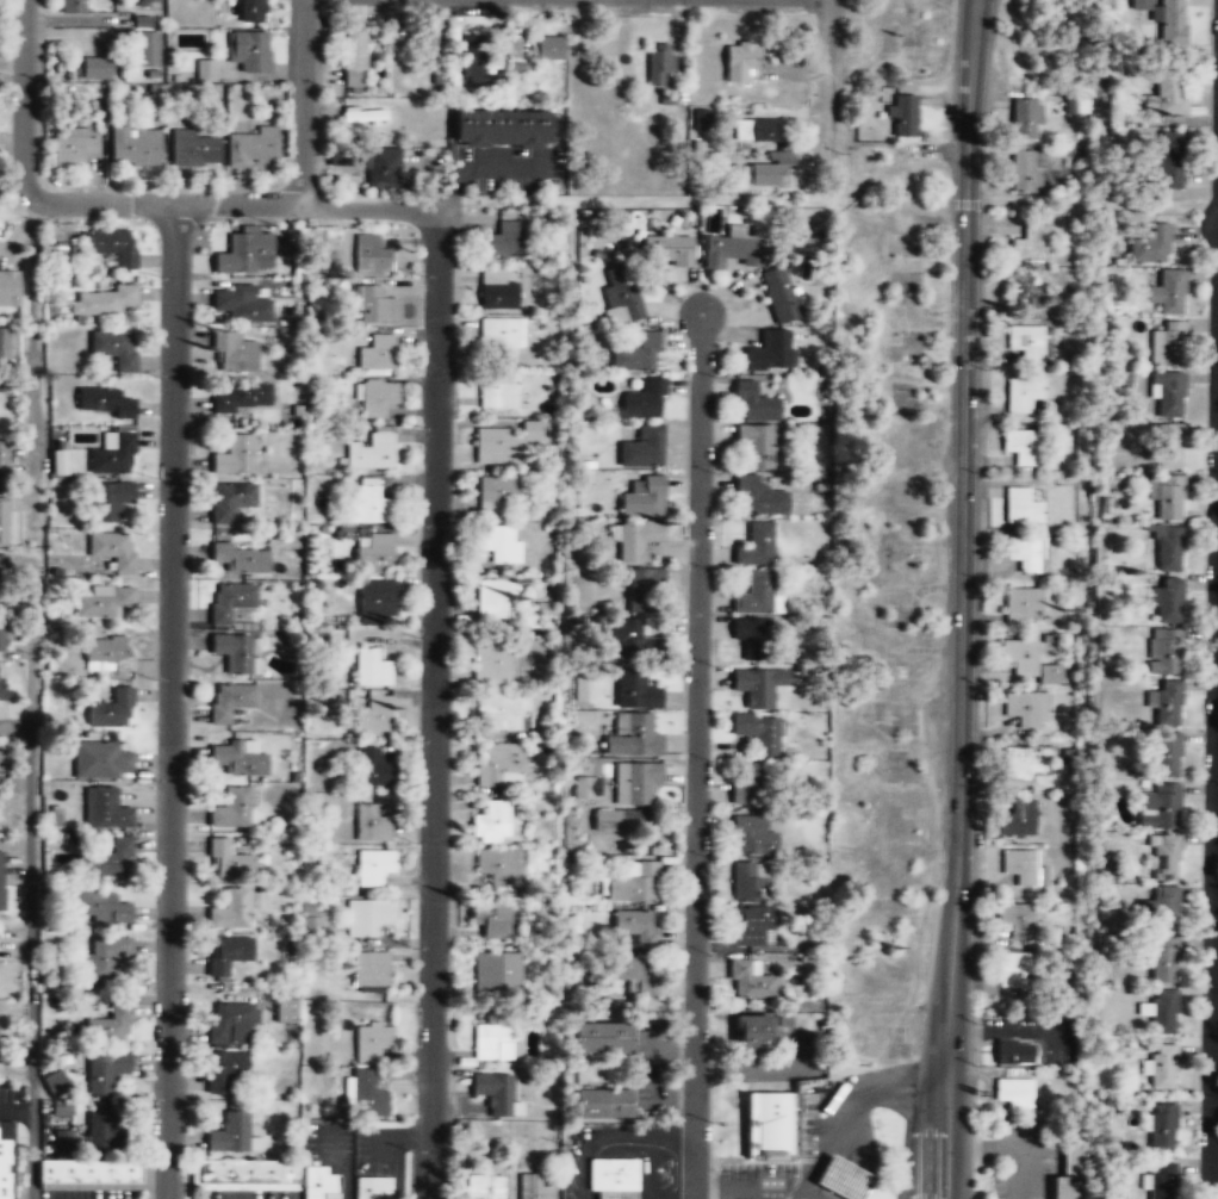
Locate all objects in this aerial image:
building: (147, 1)
building: (1141, 4)
building: (73, 7)
building: (251, 12)
building: (142, 21)
building: (1173, 23)
building: (429, 42)
building: (546, 46)
building: (147, 51)
building: (249, 52)
building: (473, 54)
building: (354, 61)
building: (658, 61)
building: (739, 62)
road: (827, 64)
building: (95, 67)
building: (205, 72)
building: (1167, 91)
road: (303, 102)
building: (902, 114)
building: (1025, 118)
building: (701, 120)
building: (502, 128)
building: (758, 130)
building: (75, 147)
building: (254, 147)
building: (135, 148)
building: (193, 148)
building: (1169, 160)
building: (1024, 167)
building: (383, 168)
road: (470, 170)
building: (762, 175)
road: (238, 205)
building: (504, 241)
building: (1030, 242)
building: (1151, 243)
building: (114, 247)
building: (665, 250)
building: (731, 251)
building: (246, 254)
building: (371, 256)
building: (8, 286)
building: (497, 291)
building: (1023, 291)
building: (1167, 292)
building: (778, 294)
building: (621, 296)
building: (101, 303)
building: (241, 304)
building: (372, 306)
building: (501, 337)
building: (1024, 342)
building: (1166, 343)
building: (5, 344)
building: (114, 349)
building: (766, 350)
building: (377, 353)
building: (234, 354)
building: (635, 355)
building: (498, 391)
building: (1166, 392)
building: (1021, 395)
building: (243, 398)
building: (375, 398)
building: (106, 402)
building: (644, 402)
building: (753, 402)
building: (503, 442)
building: (754, 443)
building: (1169, 445)
building: (1021, 446)
building: (641, 447)
building: (372, 452)
building: (113, 453)
building: (235, 456)
building: (57, 461)
building: (2, 462)
building: (497, 493)
building: (1166, 495)
building: (641, 496)
building: (758, 496)
building: (114, 498)
building: (230, 501)
building: (368, 502)
building: (1020, 505)
building: (4, 521)
building: (634, 539)
building: (499, 542)
building: (754, 545)
building: (1166, 546)
building: (113, 549)
building: (374, 552)
building: (1024, 552)
road: (31, 559)
building: (240, 560)
building: (4, 569)
building: (641, 590)
building: (754, 594)
building: (377, 599)
road: (962, 599)
building: (1164, 599)
building: (230, 601)
building: (493, 601)
building: (102, 602)
building: (1020, 603)
building: (2, 636)
building: (632, 638)
building: (748, 638)
building: (1163, 651)
building: (235, 653)
building: (106, 656)
building: (1026, 658)
building: (491, 666)
building: (372, 669)
building: (759, 685)
building: (634, 689)
building: (4, 692)
road: (172, 701)
building: (229, 702)
building: (1166, 703)
building: (112, 709)
building: (1024, 709)
building: (504, 712)
road: (434, 714)
building: (372, 716)
building: (757, 731)
building: (632, 737)
building: (1166, 754)
road: (695, 756)
building: (238, 758)
building: (4, 759)
building: (101, 760)
building: (1026, 762)
building: (498, 764)
building: (373, 769)
building: (635, 782)
building: (748, 783)
building: (12, 784)
building: (582, 790)
building: (1158, 807)
building: (230, 808)
building: (105, 809)
building: (1017, 818)
building: (621, 821)
building: (491, 822)
building: (369, 825)
building: (752, 835)
building: (1163, 856)
building: (113, 858)
building: (228, 862)
building: (498, 866)
building: (372, 868)
building: (1023, 868)
building: (2, 880)
building: (751, 881)
building: (634, 883)
road: (1214, 893)
building: (1164, 907)
building: (99, 908)
building: (231, 911)
building: (313, 918)
building: (365, 918)
building: (491, 920)
building: (1017, 920)
building: (751, 926)
building: (635, 927)
building: (228, 953)
building: (107, 956)
building: (1163, 961)
building: (1013, 968)
building: (369, 971)
building: (497, 973)
building: (635, 975)
building: (748, 981)
building: (287, 1009)
building: (1160, 1011)
building: (231, 1024)
building: (111, 1026)
building: (750, 1035)
building: (602, 1038)
building: (371, 1042)
building: (495, 1042)
building: (1012, 1050)
building: (1161, 1067)
building: (106, 1071)
building: (225, 1073)
building: (55, 1085)
building: (1013, 1092)
building: (366, 1093)
building: (496, 1094)
building: (603, 1104)
road: (15, 1110)
building: (61, 1110)
building: (770, 1123)
building: (1162, 1124)
building: (102, 1133)
building: (230, 1135)
building: (85, 1164)
building: (5, 1168)
building: (247, 1169)
building: (613, 1173)
building: (841, 1176)
gas station: (841, 1176)
building: (1070, 1176)
building: (1161, 1180)
building: (317, 1181)
building: (484, 1185)
building: (372, 1187)
building: (533, 1187)
parking lot: (250, 1193)
building: (617, 1193)

